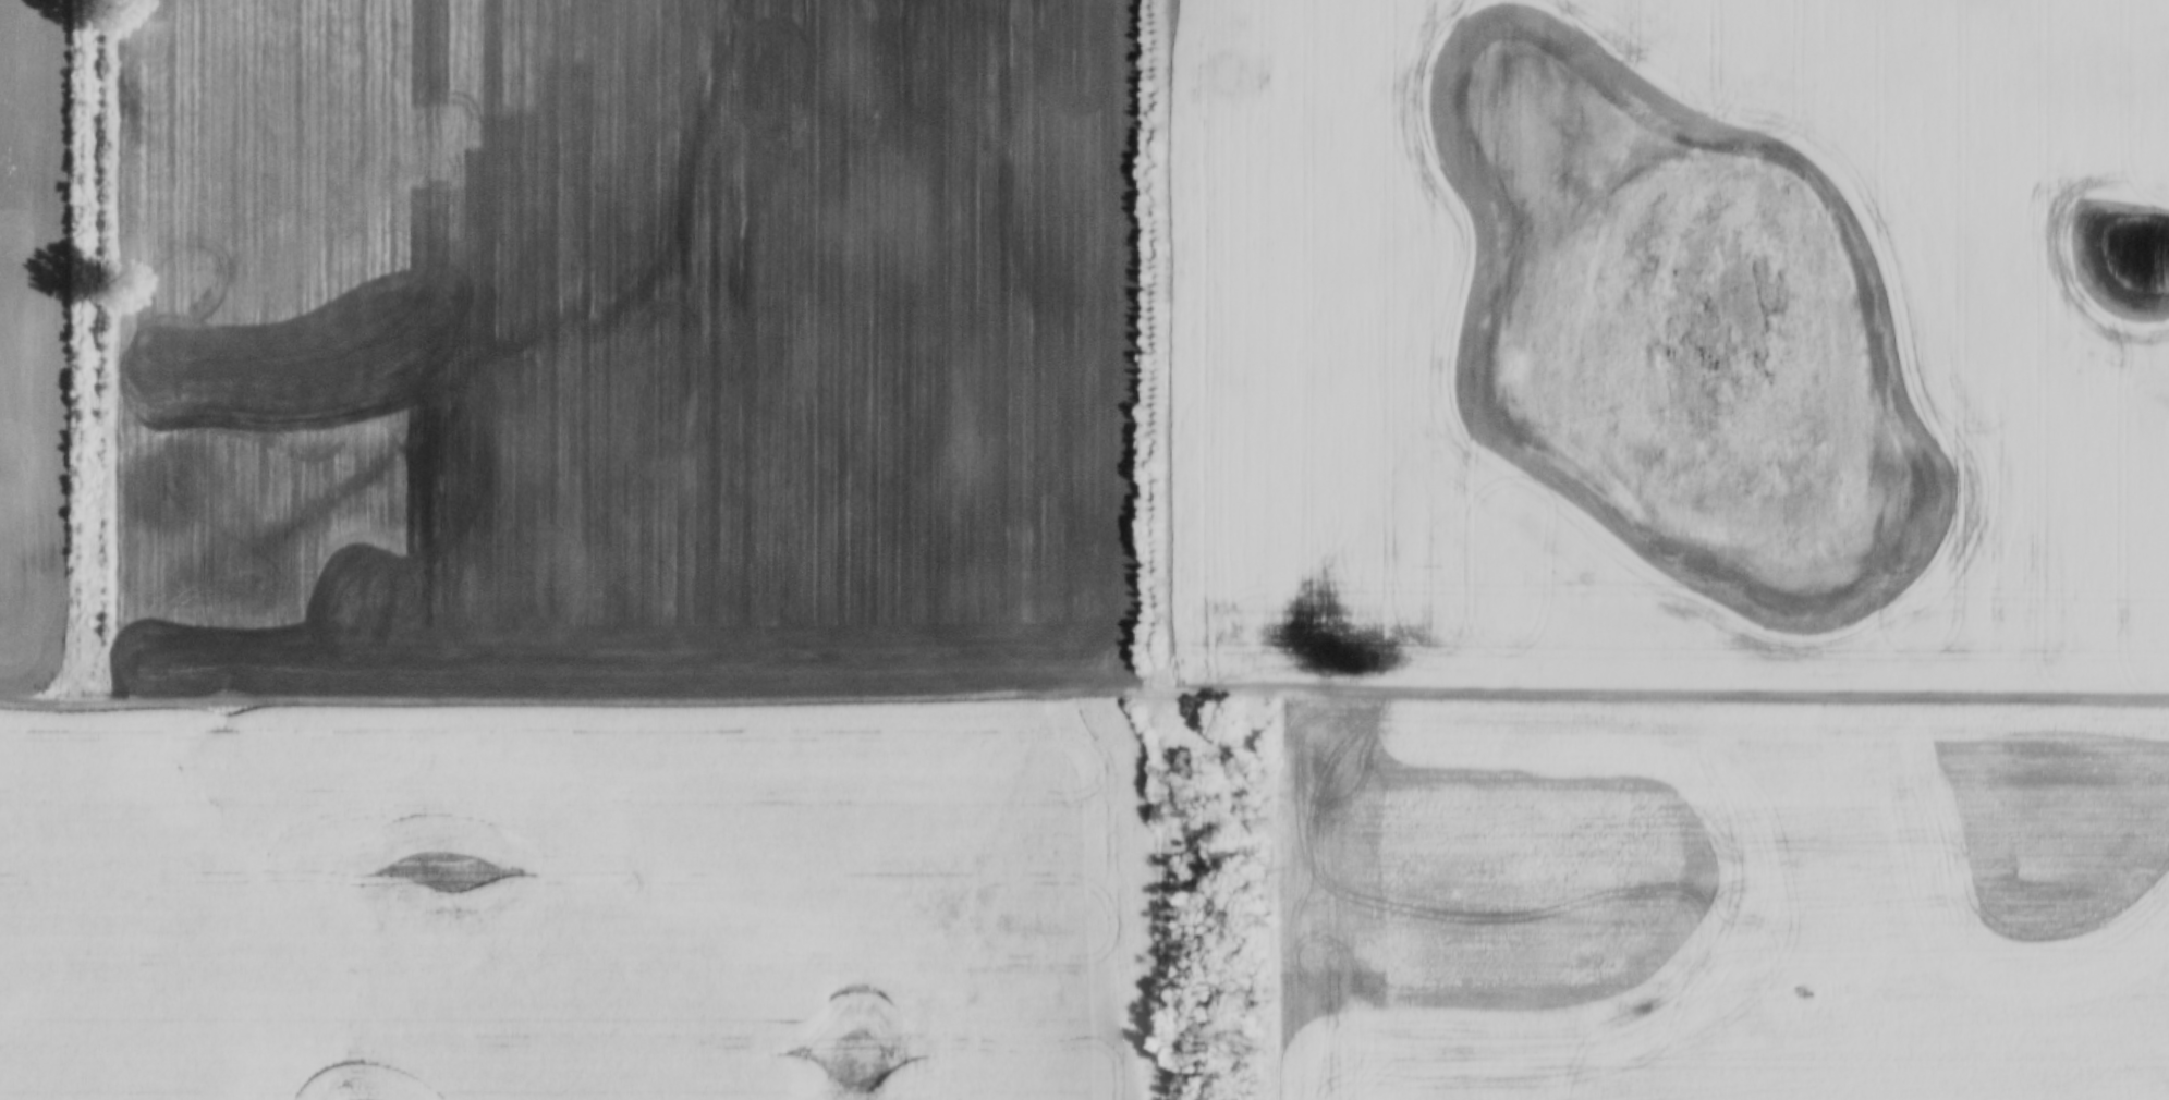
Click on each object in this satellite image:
road: (96, 352)
road: (1084, 696)

